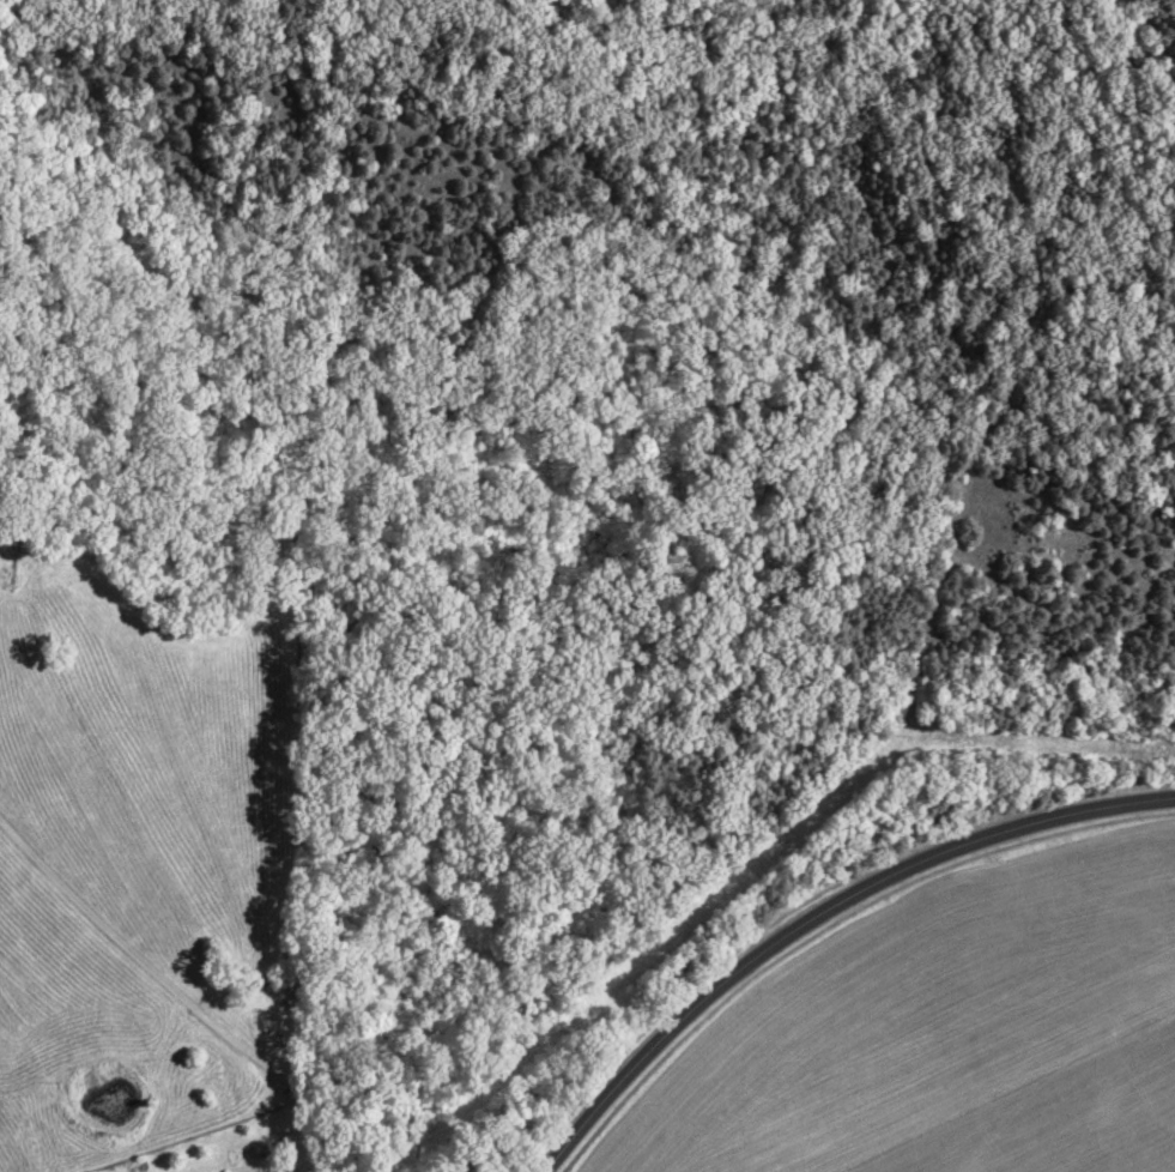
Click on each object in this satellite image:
road: (822, 916)
road: (178, 986)

